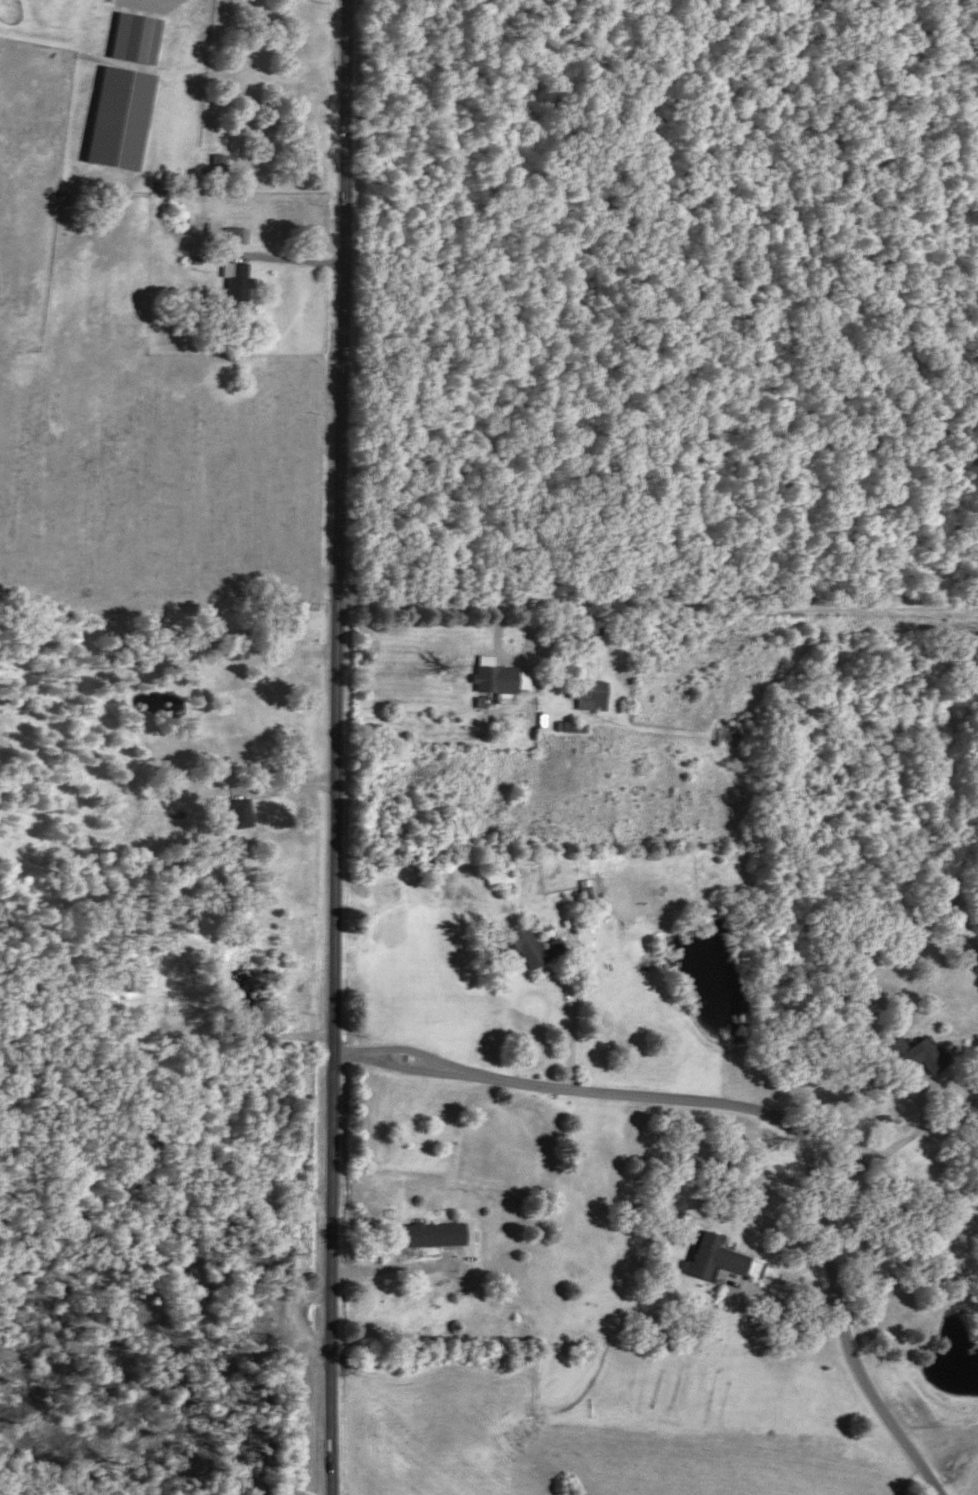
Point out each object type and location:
building: (125, 38)
building: (110, 118)
building: (208, 163)
building: (223, 234)
road: (279, 256)
building: (224, 280)
road: (658, 602)
building: (492, 680)
building: (580, 691)
road: (336, 747)
building: (238, 814)
building: (491, 878)
road: (180, 947)
building: (523, 947)
road: (574, 1012)
building: (913, 1055)
road: (761, 1116)
building: (433, 1235)
road: (899, 1235)
building: (713, 1258)
road: (395, 1271)

